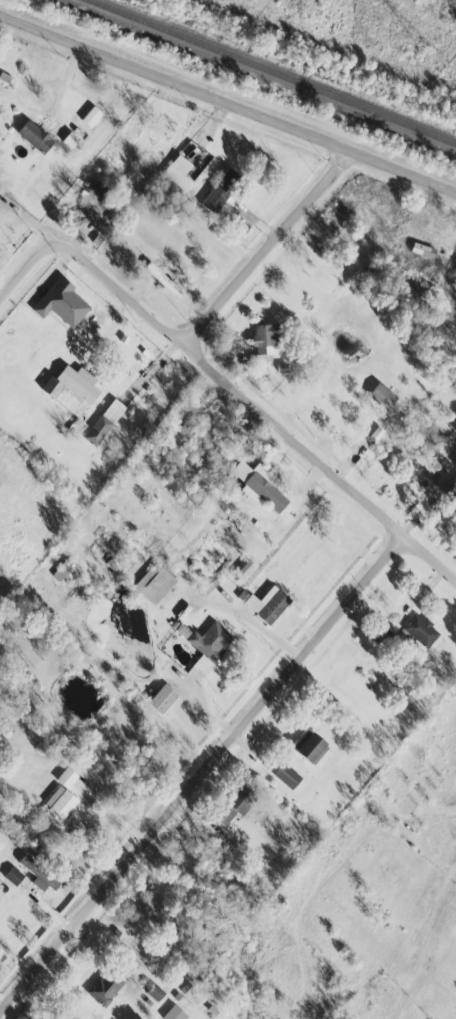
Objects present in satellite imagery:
power tower: (426, 54)
railway: (273, 71)
road: (227, 105)
building: (34, 136)
building: (177, 173)
building: (220, 190)
building: (96, 192)
road: (269, 248)
road: (32, 272)
building: (162, 280)
building: (407, 284)
building: (61, 303)
building: (442, 326)
building: (264, 341)
building: (85, 375)
building: (70, 391)
building: (381, 396)
road: (264, 412)
building: (103, 422)
building: (185, 430)
building: (375, 434)
building: (259, 485)
building: (452, 493)
building: (154, 583)
building: (265, 604)
building: (421, 630)
building: (209, 645)
building: (162, 698)
road: (200, 706)
building: (309, 747)
building: (286, 775)
building: (66, 777)
road: (205, 782)
building: (59, 803)
building: (233, 804)
building: (40, 874)
building: (13, 876)
building: (104, 987)
building: (154, 992)
building: (174, 1013)

